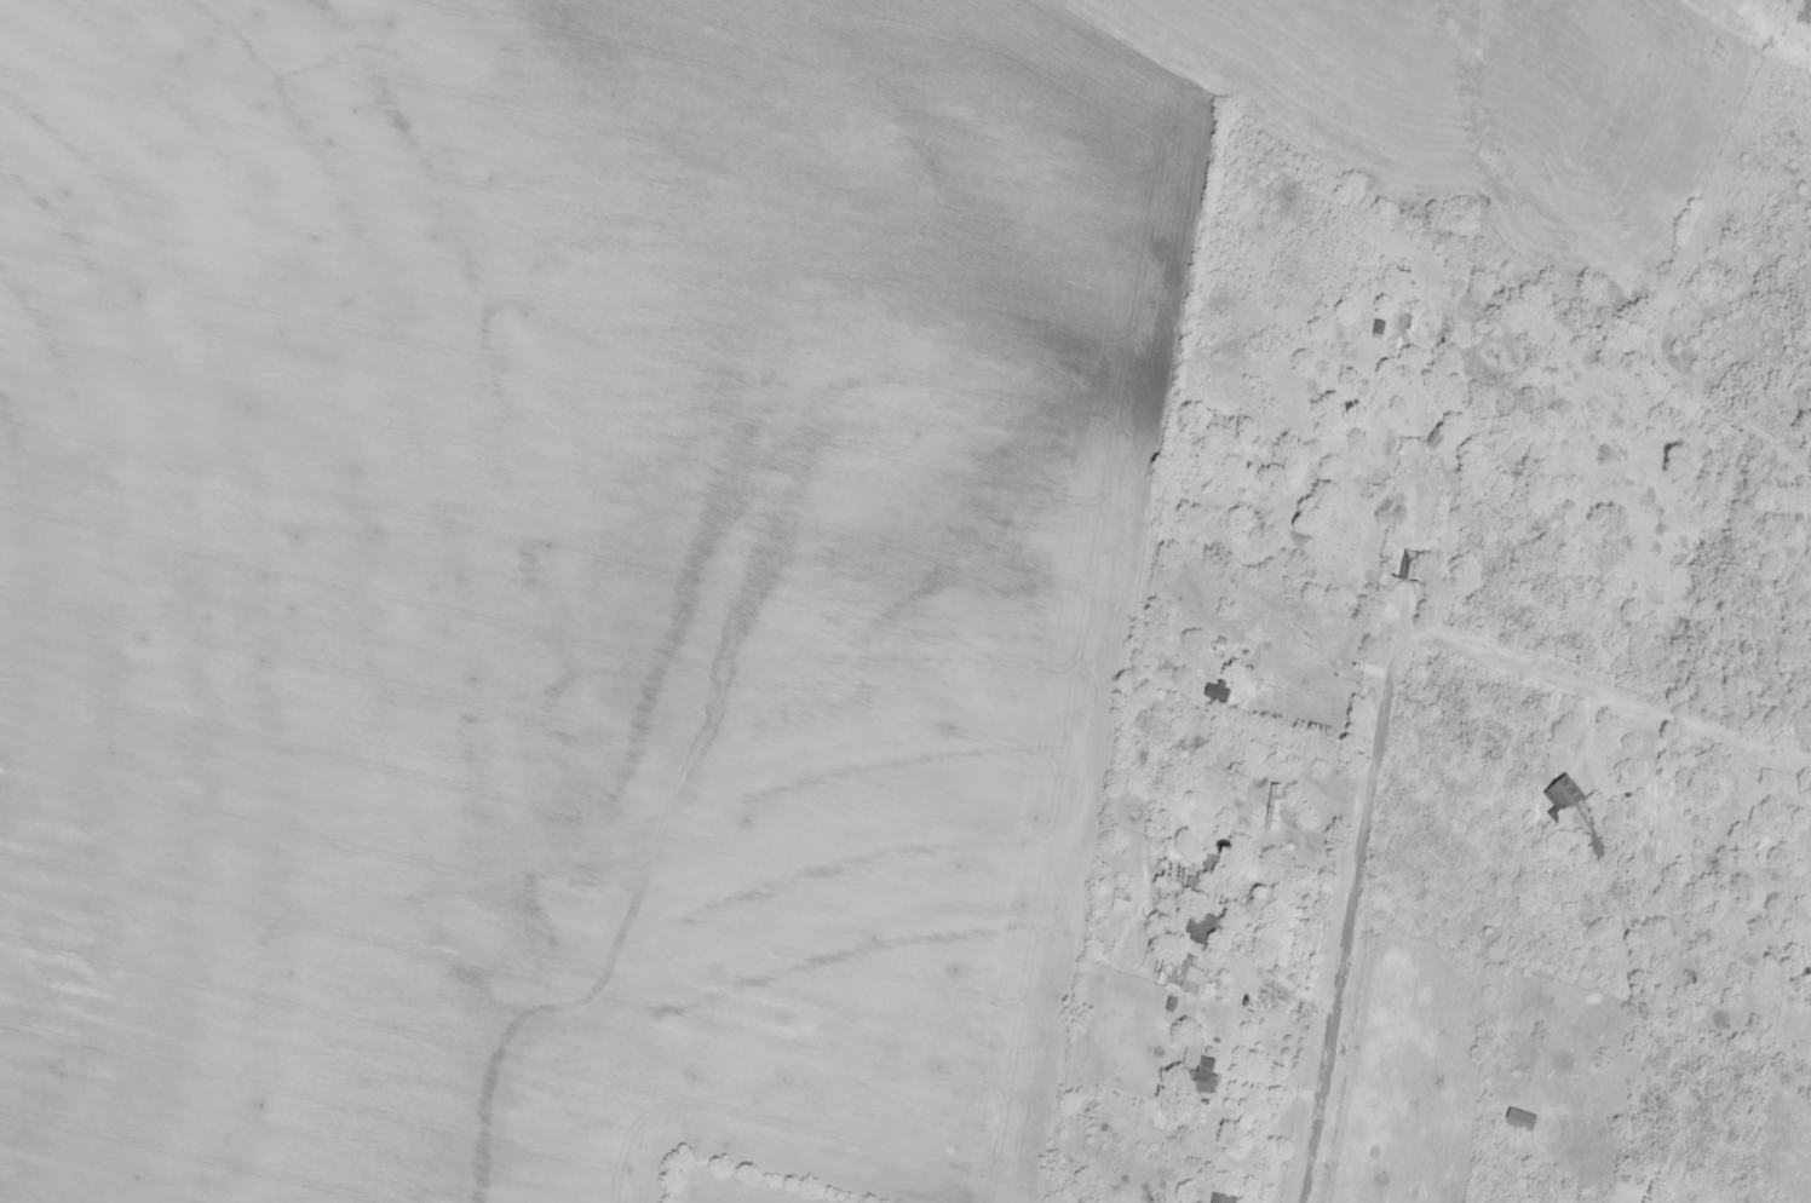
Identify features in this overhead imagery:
power tower: (1723, 56)
building: (1398, 341)
road: (1604, 698)
building: (1564, 794)
road: (1355, 881)
building: (1179, 978)
road: (1270, 986)
building: (1202, 1074)
building: (1219, 1199)

